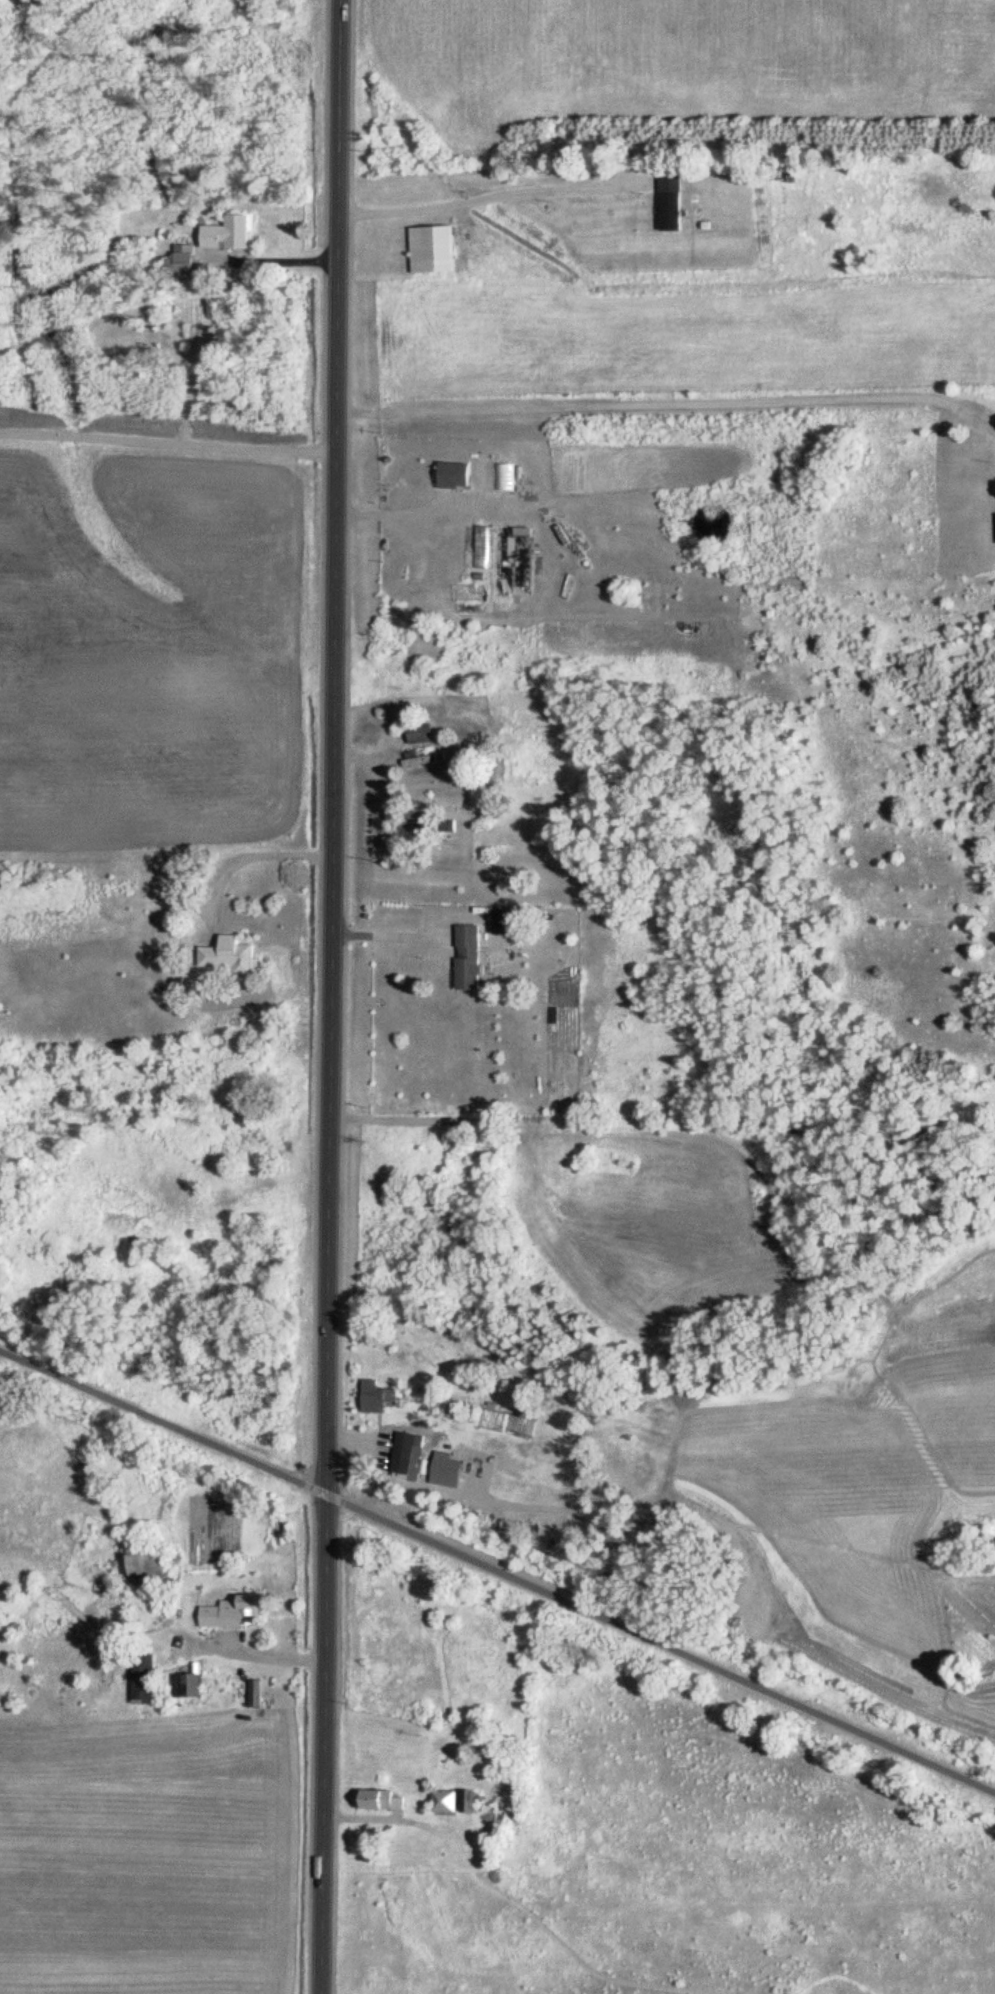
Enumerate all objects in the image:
building: (674, 202)
building: (230, 233)
building: (188, 267)
road: (168, 437)
building: (457, 475)
building: (504, 476)
building: (483, 546)
building: (515, 561)
building: (422, 733)
building: (421, 760)
building: (420, 825)
building: (508, 922)
building: (229, 956)
building: (471, 957)
road: (331, 997)
building: (376, 1397)
building: (407, 1455)
building: (154, 1569)
road: (498, 1569)
building: (234, 1614)
building: (146, 1685)
building: (190, 1686)
building: (386, 1798)
building: (446, 1801)

